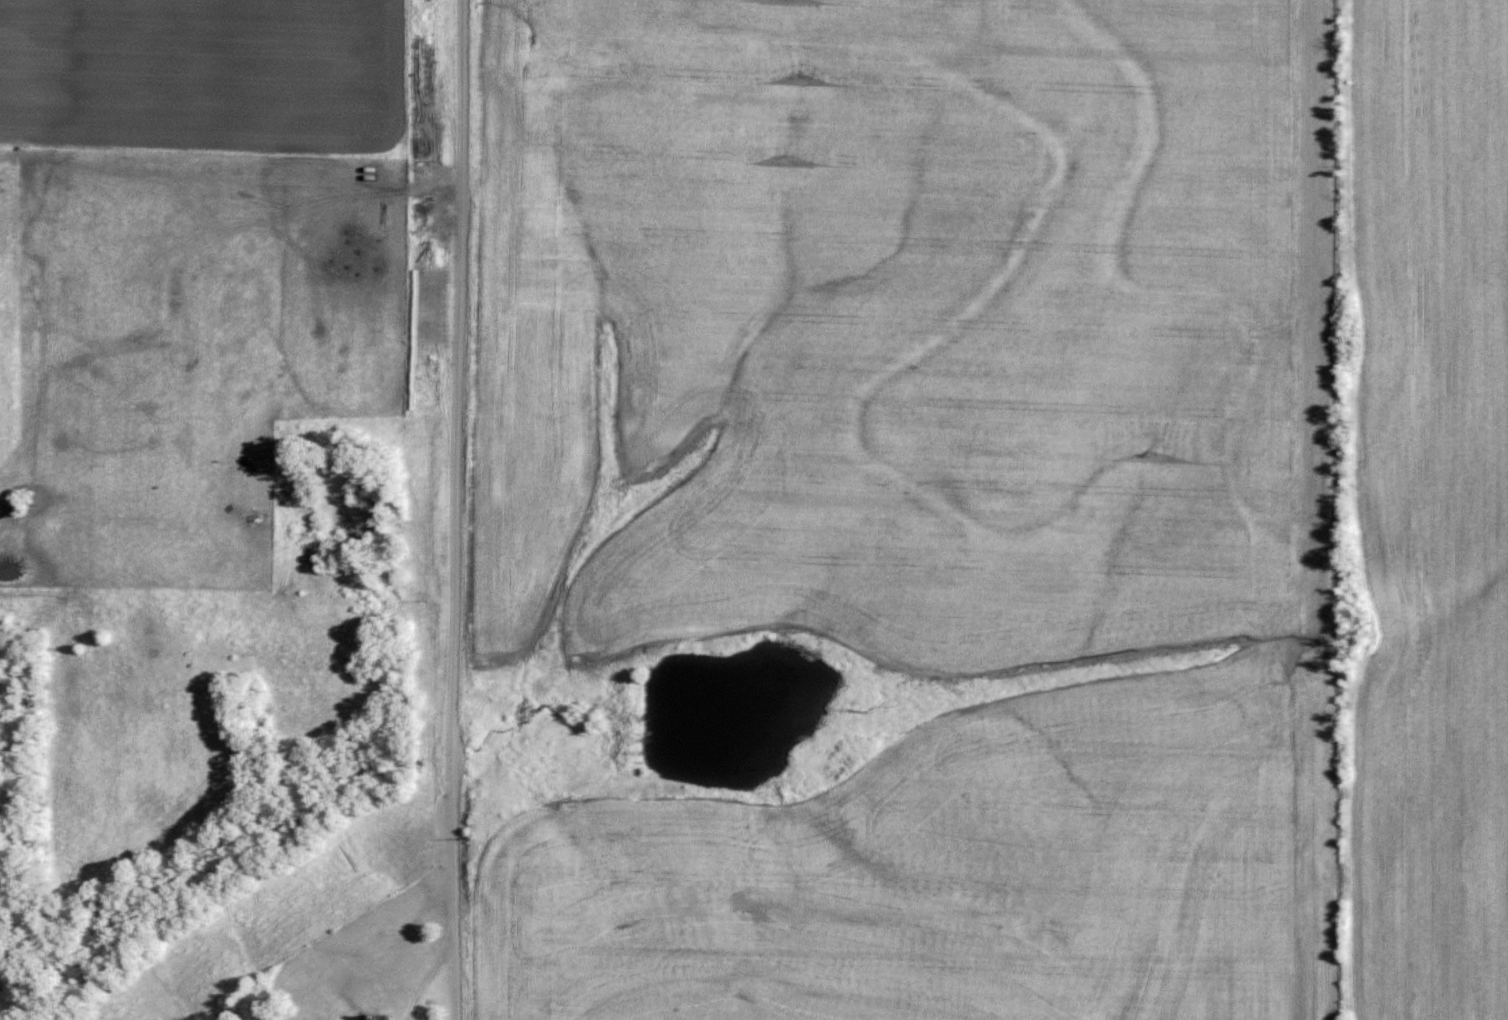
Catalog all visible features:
road: (456, 509)
building: (379, 1016)

